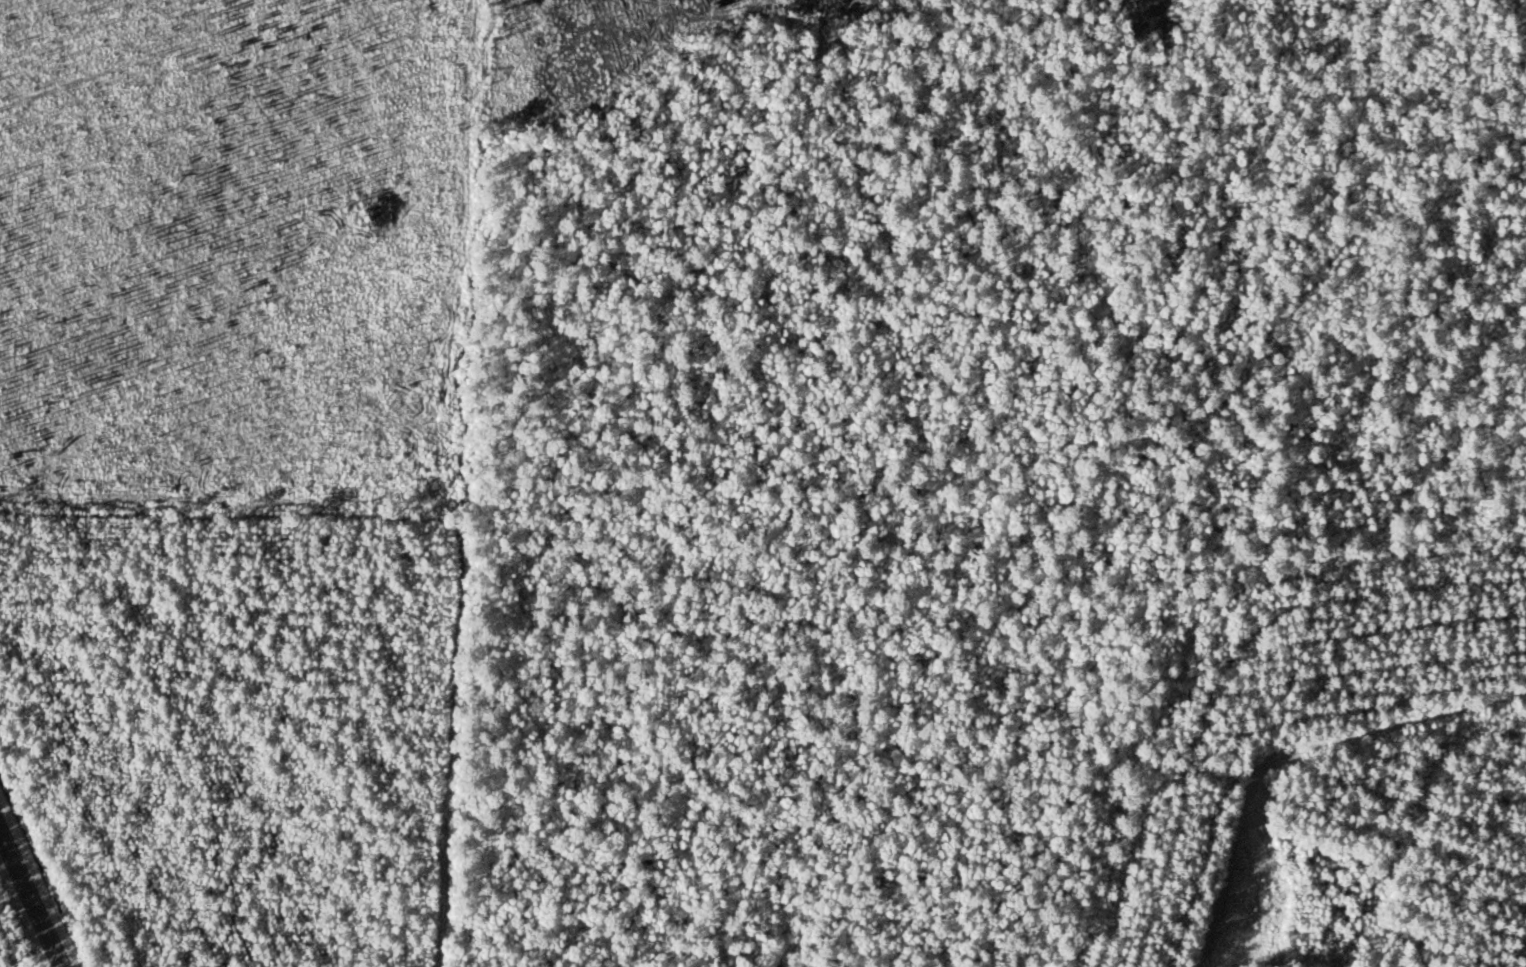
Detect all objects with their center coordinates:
road: (30, 899)

